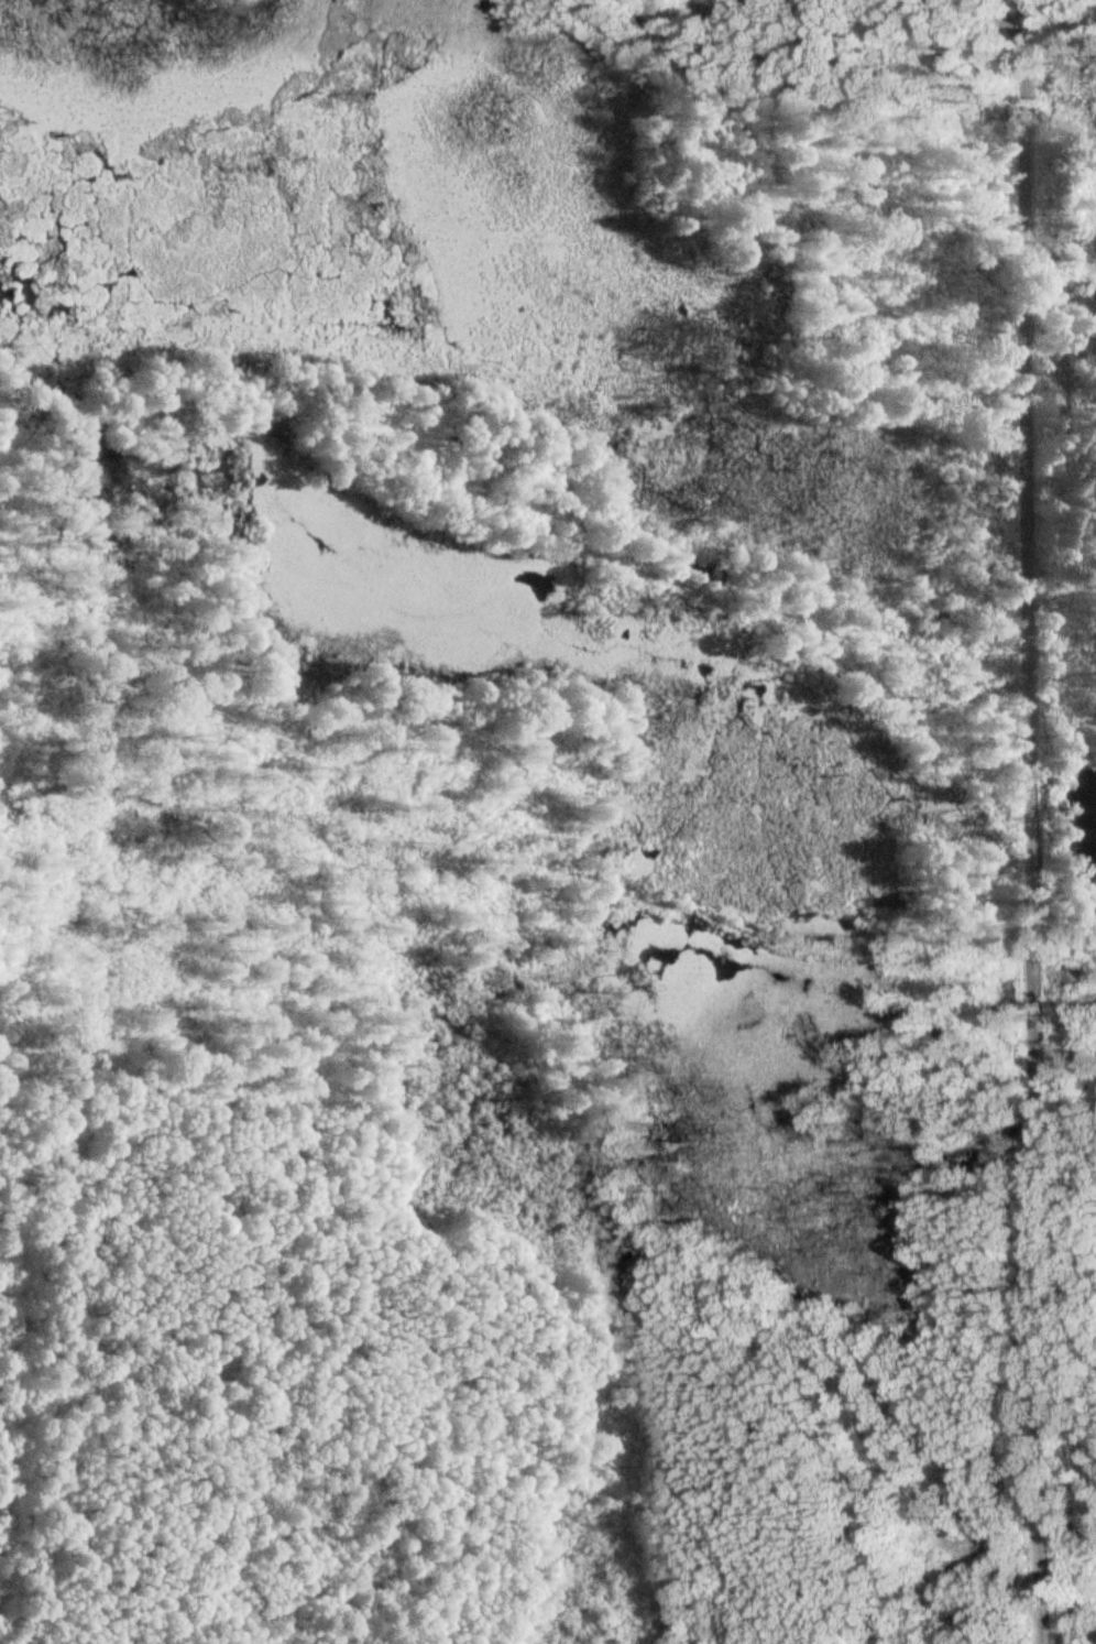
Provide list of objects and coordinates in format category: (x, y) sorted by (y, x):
road: (1017, 821)

